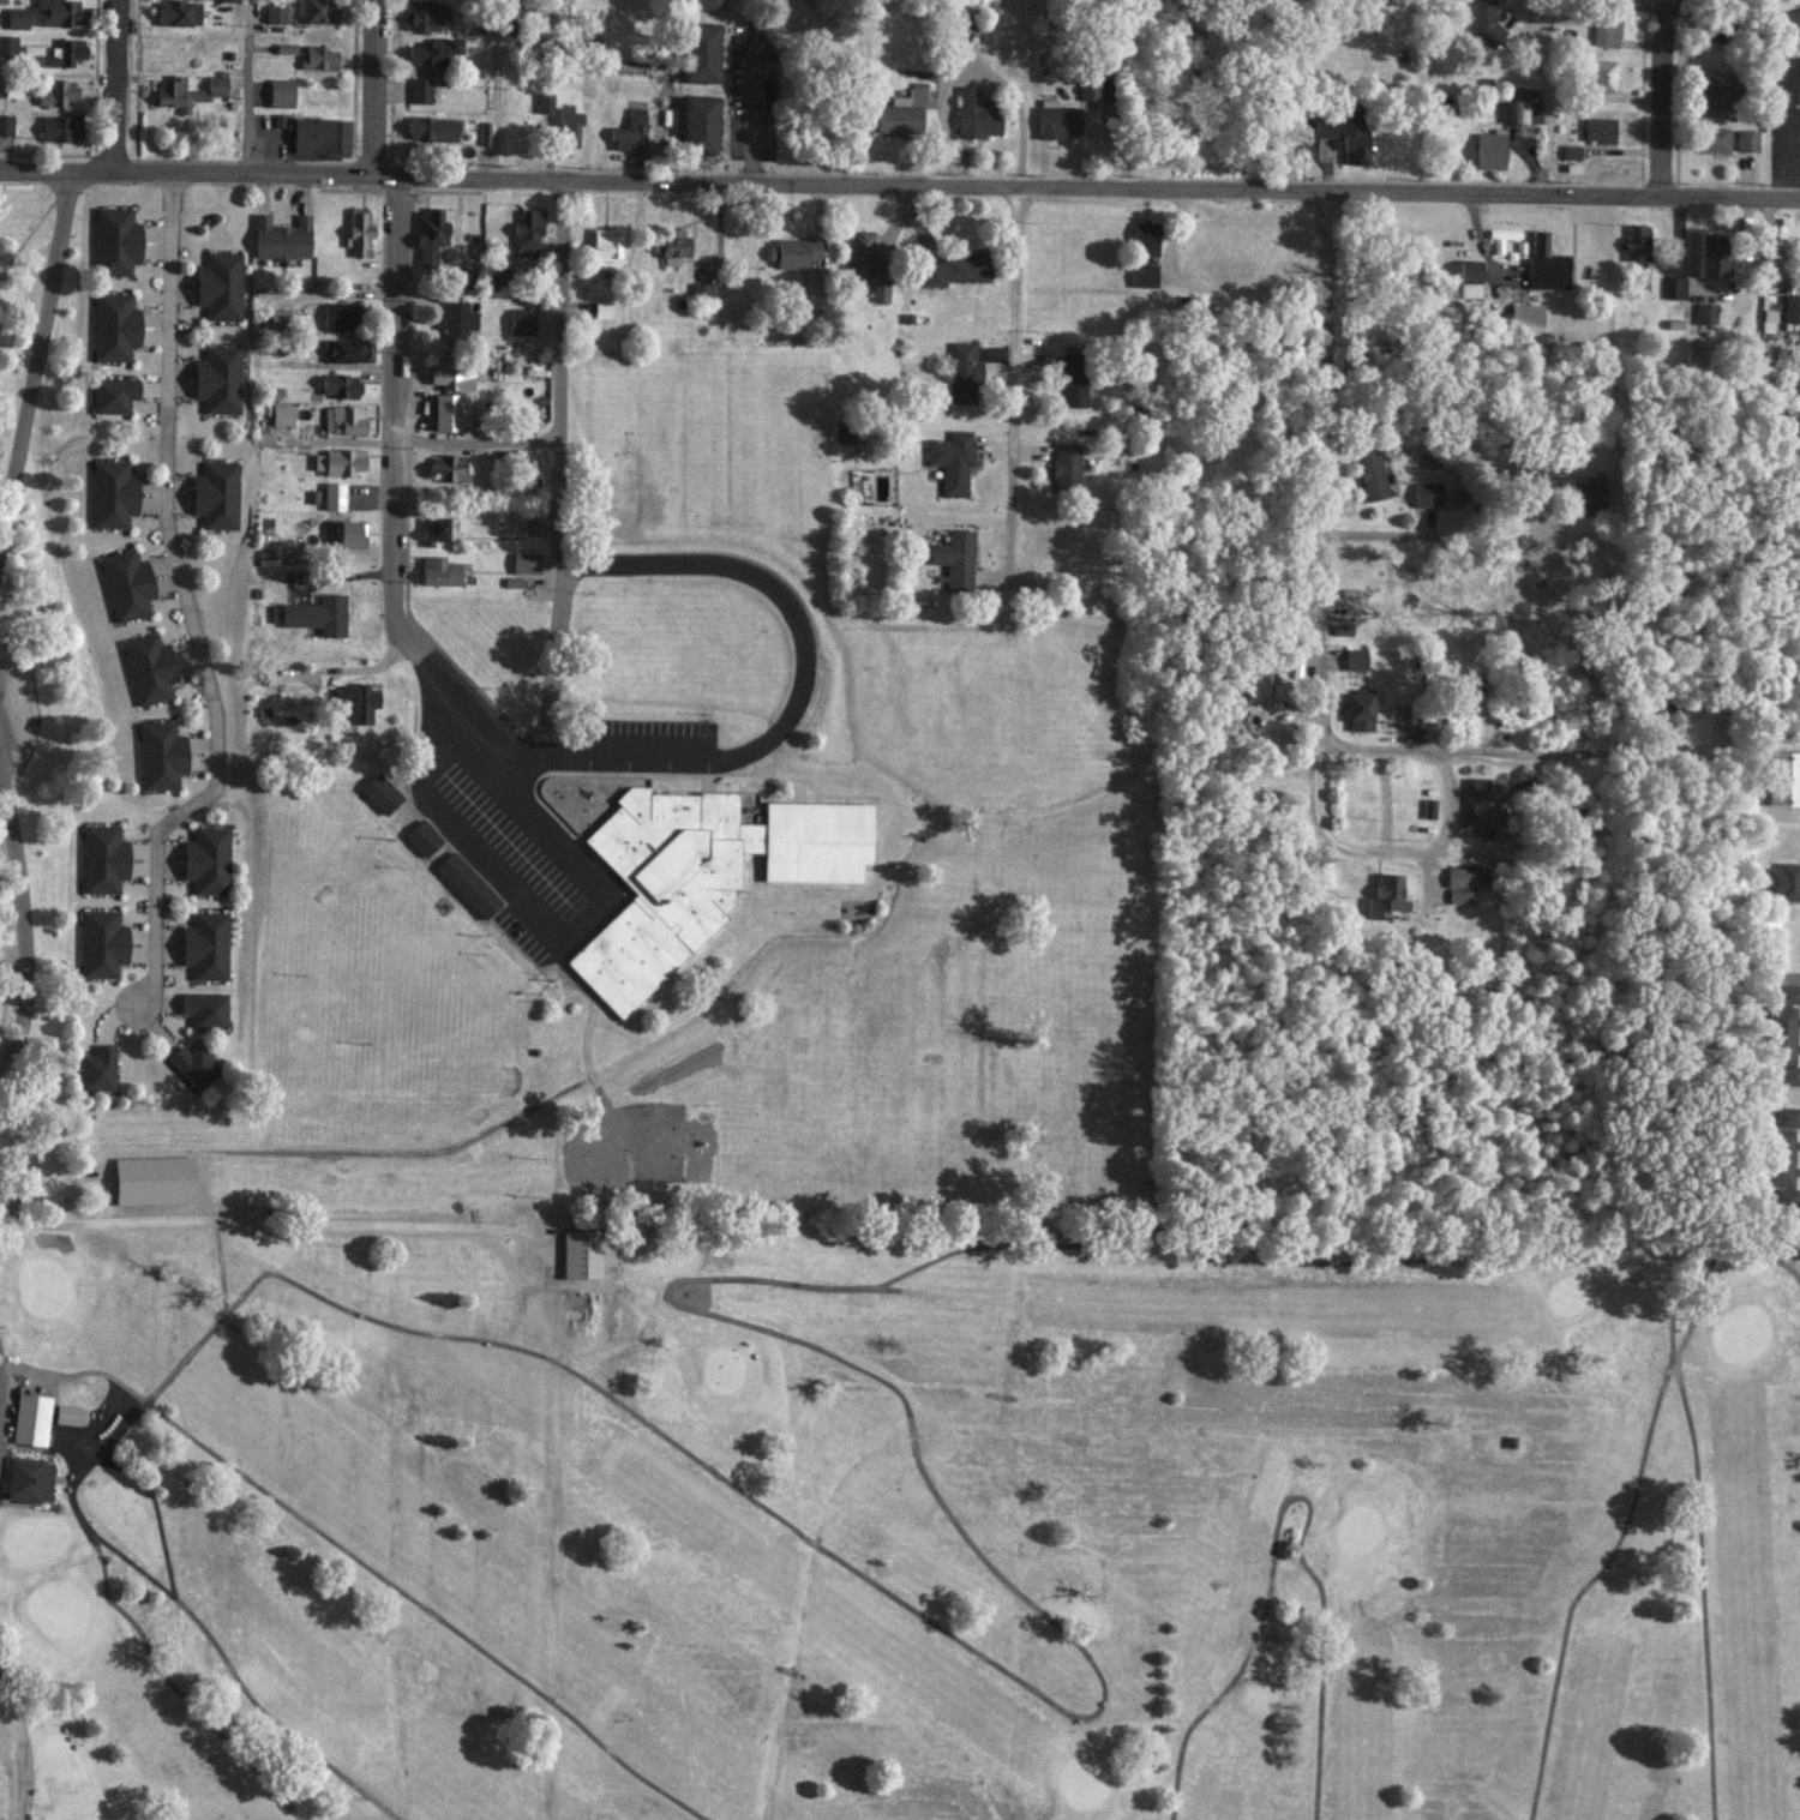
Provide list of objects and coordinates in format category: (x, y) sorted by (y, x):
building: (700, 2)
building: (274, 11)
building: (316, 11)
building: (58, 12)
building: (176, 12)
building: (425, 14)
building: (16, 17)
building: (1484, 19)
building: (1793, 19)
building: (1607, 24)
building: (1718, 29)
building: (966, 31)
building: (431, 49)
building: (65, 52)
building: (698, 52)
building: (317, 58)
road: (978, 74)
building: (1602, 74)
road: (113, 84)
road: (248, 86)
building: (1092, 86)
road: (371, 88)
building: (419, 89)
road: (496, 89)
building: (187, 90)
building: (56, 91)
building: (280, 92)
building: (1714, 95)
road: (1662, 97)
road: (1548, 100)
building: (542, 101)
road: (745, 106)
building: (902, 110)
building: (1514, 110)
building: (976, 113)
building: (1056, 119)
building: (5, 122)
building: (568, 122)
building: (698, 122)
building: (1325, 125)
building: (60, 126)
building: (430, 127)
building: (1598, 127)
building: (630, 132)
building: (1352, 134)
building: (319, 136)
building: (1711, 138)
building: (1746, 139)
building: (1488, 150)
building: (1570, 150)
road: (899, 184)
road: (32, 226)
building: (358, 230)
building: (428, 233)
building: (527, 233)
building: (281, 236)
building: (114, 240)
building: (1144, 241)
building: (1636, 241)
building: (605, 247)
building: (673, 248)
building: (792, 251)
building: (1711, 254)
building: (865, 263)
building: (1546, 264)
building: (956, 268)
building: (1142, 275)
building: (1469, 277)
building: (809, 280)
building: (218, 284)
building: (1674, 287)
building: (700, 289)
park: (23, 301)
building: (1792, 307)
building: (600, 308)
building: (1705, 312)
building: (338, 314)
building: (1524, 316)
building: (278, 319)
building: (455, 319)
building: (521, 320)
building: (1766, 320)
building: (113, 325)
road: (35, 347)
building: (344, 349)
building: (962, 372)
building: (450, 374)
building: (216, 378)
building: (1072, 378)
road: (1020, 383)
building: (338, 385)
road: (392, 391)
building: (112, 394)
building: (445, 410)
building: (281, 414)
building: (342, 419)
building: (846, 432)
road: (476, 439)
building: (950, 459)
building: (337, 461)
building: (1066, 464)
building: (448, 465)
road: (560, 467)
building: (1370, 474)
building: (110, 493)
building: (332, 493)
building: (1427, 493)
building: (215, 494)
building: (1588, 494)
road: (1322, 504)
building: (521, 523)
building: (437, 527)
building: (349, 534)
road: (1418, 536)
building: (954, 555)
building: (524, 561)
building: (438, 570)
building: (125, 583)
road: (185, 603)
building: (316, 614)
building: (1342, 629)
building: (1355, 657)
building: (148, 667)
building: (1258, 683)
building: (354, 702)
building: (1358, 709)
road: (1457, 749)
road: (751, 753)
building: (160, 755)
building: (379, 793)
building: (1486, 801)
building: (421, 837)
road: (1426, 853)
building: (101, 858)
building: (205, 859)
building: (700, 875)
building: (1463, 876)
building: (1782, 881)
building: (466, 884)
building: (1385, 895)
building: (1457, 895)
road: (22, 907)
park: (8, 915)
road: (540, 921)
building: (101, 943)
building: (204, 944)
building: (1788, 993)
building: (204, 1009)
building: (1782, 1033)
building: (193, 1065)
building: (96, 1068)
building: (1788, 1074)
building: (1787, 1116)
building: (1780, 1157)
building: (152, 1179)
building: (1786, 1197)
road: (276, 1217)
building: (581, 1254)
road: (1766, 1256)
road: (1412, 1263)
road: (246, 1295)
road: (732, 1321)
road: (169, 1378)
building: (68, 1413)
building: (30, 1418)
road: (102, 1453)
building: (26, 1478)
road: (1289, 1502)
road: (158, 1513)
park: (890, 1524)
road: (804, 1536)
road: (1703, 1550)
road: (428, 1611)
road: (1567, 1630)
road: (232, 1669)
road: (176, 1689)
road: (16, 1753)

